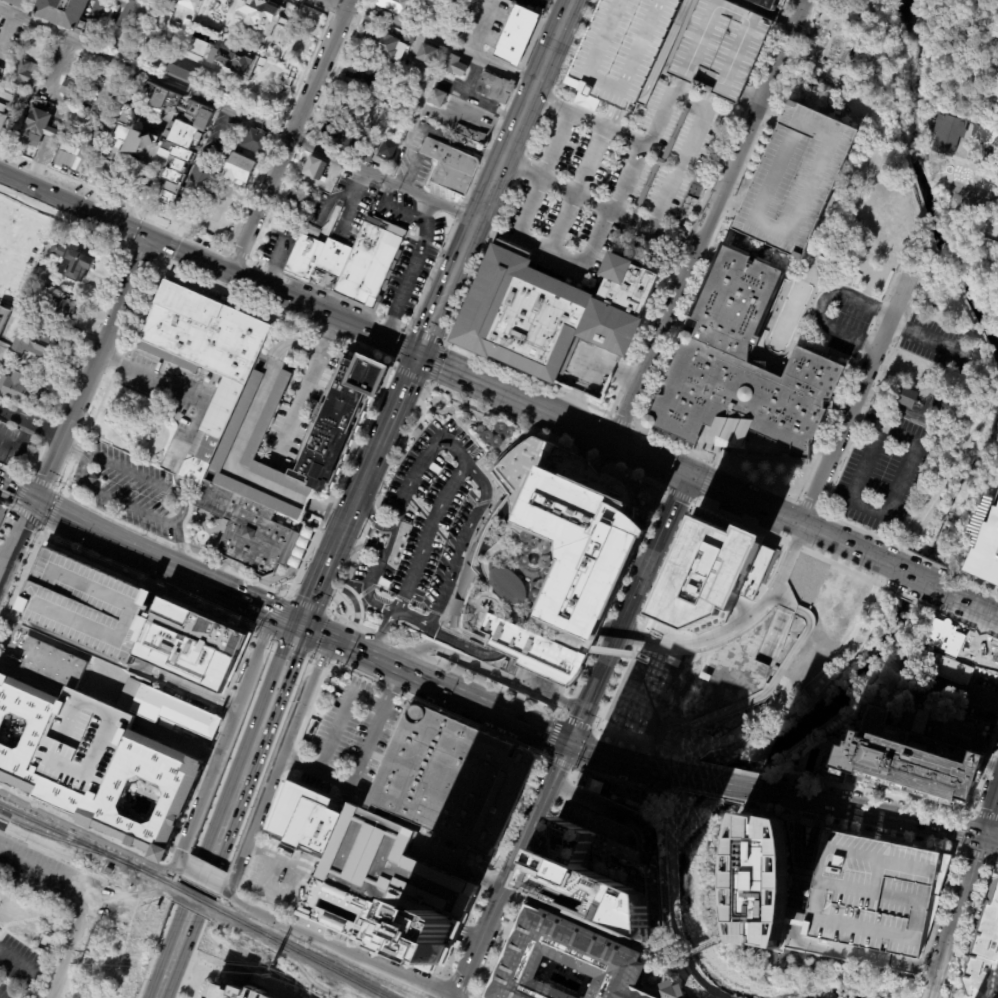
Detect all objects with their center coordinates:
building: (230, 3)
building: (768, 3)
building: (21, 4)
building: (192, 5)
road: (331, 5)
building: (395, 6)
road: (768, 11)
building: (73, 13)
building: (262, 15)
building: (121, 21)
building: (516, 35)
road: (553, 43)
road: (440, 44)
building: (387, 45)
building: (623, 46)
parking lot: (623, 46)
building: (720, 48)
parking lot: (720, 48)
building: (424, 56)
park: (963, 58)
building: (241, 59)
park: (843, 61)
building: (454, 66)
building: (183, 70)
building: (27, 73)
building: (1, 74)
building: (362, 74)
building: (806, 79)
building: (494, 87)
building: (69, 89)
road: (533, 89)
building: (436, 98)
road: (546, 99)
building: (375, 102)
building: (347, 108)
building: (7, 113)
road: (238, 113)
road: (416, 113)
road: (523, 113)
road: (468, 114)
building: (105, 119)
building: (81, 123)
road: (697, 125)
building: (338, 134)
building: (470, 134)
building: (948, 134)
building: (985, 134)
road: (287, 138)
building: (63, 139)
building: (162, 139)
road: (632, 140)
road: (547, 141)
building: (256, 142)
road: (509, 147)
building: (387, 150)
building: (365, 157)
building: (661, 161)
road: (511, 165)
building: (451, 166)
road: (479, 166)
building: (315, 169)
building: (239, 171)
road: (517, 171)
road: (526, 172)
building: (792, 178)
parking lot: (792, 178)
parking lot: (608, 180)
building: (202, 183)
road: (574, 188)
building: (297, 198)
road: (521, 204)
road: (390, 208)
road: (698, 208)
road: (615, 209)
road: (424, 211)
road: (723, 213)
road: (707, 222)
building: (312, 230)
traffic signals: (148, 242)
road: (169, 246)
building: (19, 247)
road: (458, 260)
building: (350, 262)
building: (76, 264)
road: (272, 265)
road: (574, 265)
road: (208, 267)
building: (43, 274)
road: (406, 282)
building: (616, 303)
road: (822, 303)
building: (62, 308)
building: (521, 315)
building: (4, 319)
road: (923, 336)
road: (321, 339)
road: (442, 342)
parking lot: (932, 342)
building: (33, 343)
building: (200, 357)
traffic signals: (416, 359)
building: (740, 364)
road: (90, 369)
road: (528, 377)
road: (461, 379)
road: (848, 386)
road: (402, 389)
road: (182, 391)
building: (21, 392)
building: (903, 397)
road: (853, 403)
road: (864, 405)
building: (874, 410)
road: (292, 411)
building: (332, 420)
road: (30, 421)
park: (133, 424)
road: (546, 434)
building: (12, 443)
road: (20, 444)
road: (71, 450)
road: (374, 458)
road: (713, 465)
road: (864, 467)
parking lot: (882, 470)
road: (265, 473)
building: (93, 479)
road: (335, 480)
traffic signals: (690, 480)
road: (898, 482)
road: (704, 483)
road: (699, 484)
road: (17, 489)
road: (284, 491)
road: (52, 495)
road: (681, 495)
road: (377, 497)
traffic signals: (35, 498)
road: (14, 503)
road: (809, 505)
road: (327, 510)
road: (352, 510)
building: (3, 514)
road: (175, 518)
road: (372, 519)
parking lot: (424, 527)
building: (243, 530)
road: (858, 530)
road: (17, 536)
road: (915, 539)
road: (365, 540)
road: (790, 544)
road: (178, 545)
road: (337, 546)
building: (985, 551)
road: (4, 555)
road: (417, 559)
building: (547, 560)
road: (931, 562)
road: (785, 563)
road: (167, 564)
road: (772, 572)
building: (715, 577)
road: (921, 581)
road: (980, 583)
road: (289, 596)
road: (315, 597)
road: (913, 599)
road: (615, 604)
road: (761, 604)
road: (781, 604)
road: (974, 604)
road: (309, 605)
road: (380, 605)
building: (81, 606)
parking lot: (81, 606)
road: (628, 611)
road: (329, 616)
building: (811, 624)
road: (970, 625)
traffic signals: (303, 626)
road: (253, 630)
road: (256, 631)
road: (773, 634)
building: (942, 636)
road: (51, 640)
road: (453, 640)
road: (699, 641)
road: (274, 642)
road: (316, 645)
building: (185, 650)
road: (660, 652)
building: (915, 655)
building: (996, 659)
road: (321, 660)
building: (54, 663)
road: (444, 666)
building: (948, 667)
road: (27, 676)
road: (265, 694)
road: (955, 697)
building: (685, 703)
road: (743, 703)
road: (438, 708)
road: (997, 709)
road: (492, 710)
building: (165, 711)
road: (338, 713)
road: (561, 719)
road: (577, 722)
road: (225, 737)
road: (551, 737)
road: (620, 737)
traffic signals: (567, 743)
road: (654, 747)
road: (671, 751)
road: (209, 754)
building: (915, 754)
road: (359, 756)
building: (89, 759)
road: (688, 761)
road: (281, 763)
road: (558, 763)
road: (983, 767)
road: (573, 768)
road: (727, 769)
road: (282, 776)
building: (447, 780)
road: (627, 780)
road: (723, 781)
building: (592, 785)
road: (672, 791)
road: (865, 793)
road: (712, 794)
building: (614, 797)
building: (655, 797)
road: (611, 808)
road: (668, 810)
building: (653, 811)
road: (869, 811)
road: (238, 812)
road: (974, 812)
railway: (10, 814)
road: (965, 814)
road: (987, 815)
railway: (3, 818)
road: (2, 820)
road: (204, 820)
building: (306, 820)
road: (241, 826)
road: (847, 828)
road: (796, 830)
road: (959, 830)
road: (88, 833)
road: (814, 834)
railway: (68, 836)
traffic signals: (982, 837)
road: (990, 839)
railway: (71, 844)
road: (952, 847)
road: (960, 850)
road: (997, 853)
road: (275, 854)
road: (976, 854)
road: (51, 857)
road: (991, 858)
road: (996, 858)
road: (995, 859)
building: (604, 862)
road: (179, 863)
road: (497, 866)
road: (721, 866)
road: (972, 866)
parking lot: (27, 868)
road: (457, 869)
building: (107, 870)
road: (509, 870)
road: (522, 872)
road: (202, 874)
railway: (154, 877)
road: (191, 883)
building: (765, 883)
road: (226, 886)
road: (524, 886)
road: (798, 886)
building: (870, 890)
parking lot: (870, 890)
building: (386, 893)
railway: (194, 897)
road: (108, 899)
road: (78, 906)
road: (270, 908)
road: (73, 912)
road: (257, 912)
road: (937, 917)
road: (973, 917)
road: (469, 934)
road: (730, 934)
road: (614, 938)
road: (367, 941)
building: (47, 943)
road: (122, 945)
road: (702, 947)
road: (849, 952)
railway: (300, 953)
building: (984, 956)
power tower: (77, 959)
building: (91, 961)
road: (672, 961)
road: (373, 962)
building: (560, 962)
road: (940, 965)
parking lot: (15, 967)
road: (30, 970)
power tower: (265, 972)
road: (440, 973)
road: (450, 976)
road: (460, 985)
road: (951, 987)
building: (672, 989)
building: (231, 991)
road: (924, 991)
road: (931, 992)

